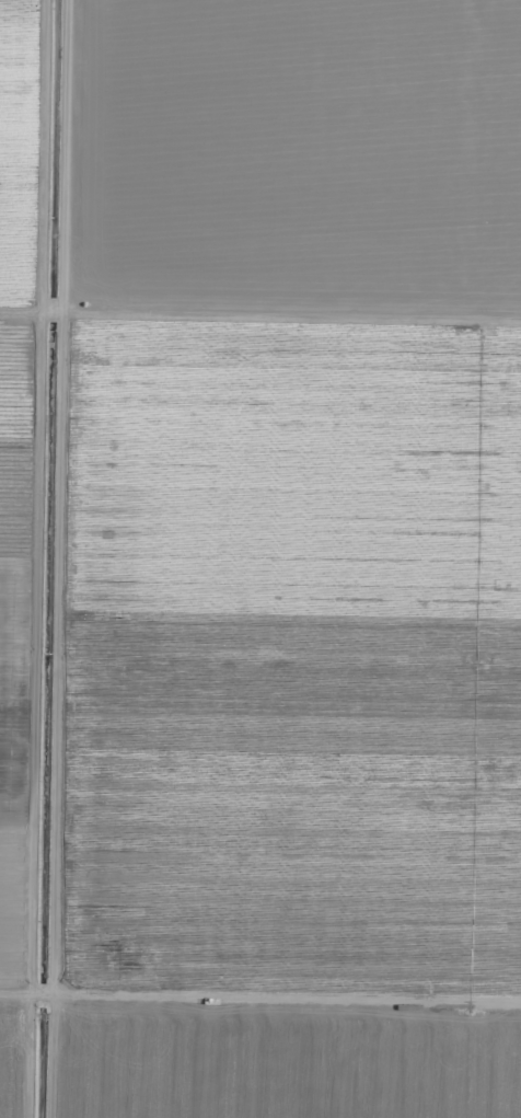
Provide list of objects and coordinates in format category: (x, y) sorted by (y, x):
crop: (260, 558)

